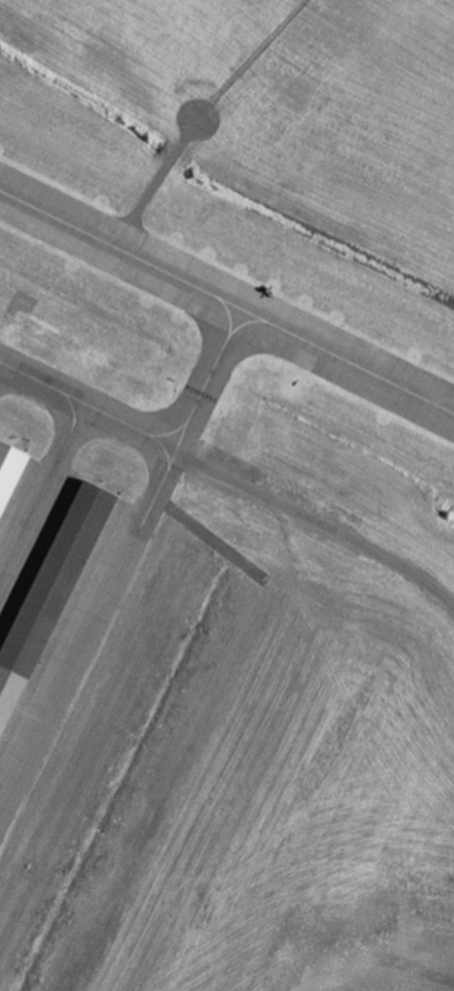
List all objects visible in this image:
road: (249, 58)
road: (156, 181)
airport taxiway: (226, 300)
airport taxiway: (228, 312)
airport taxiway: (244, 321)
airport taxiway: (207, 376)
airport taxiway: (73, 406)
airport taxiway: (170, 431)
airport taxiway: (164, 446)
airport hangar: (10, 468)
building: (10, 468)
airport taxiway: (42, 488)
airport: (227, 495)
road: (318, 522)
road: (210, 537)
airport taxiway: (132, 541)
airport hangar: (50, 590)
building: (50, 590)

